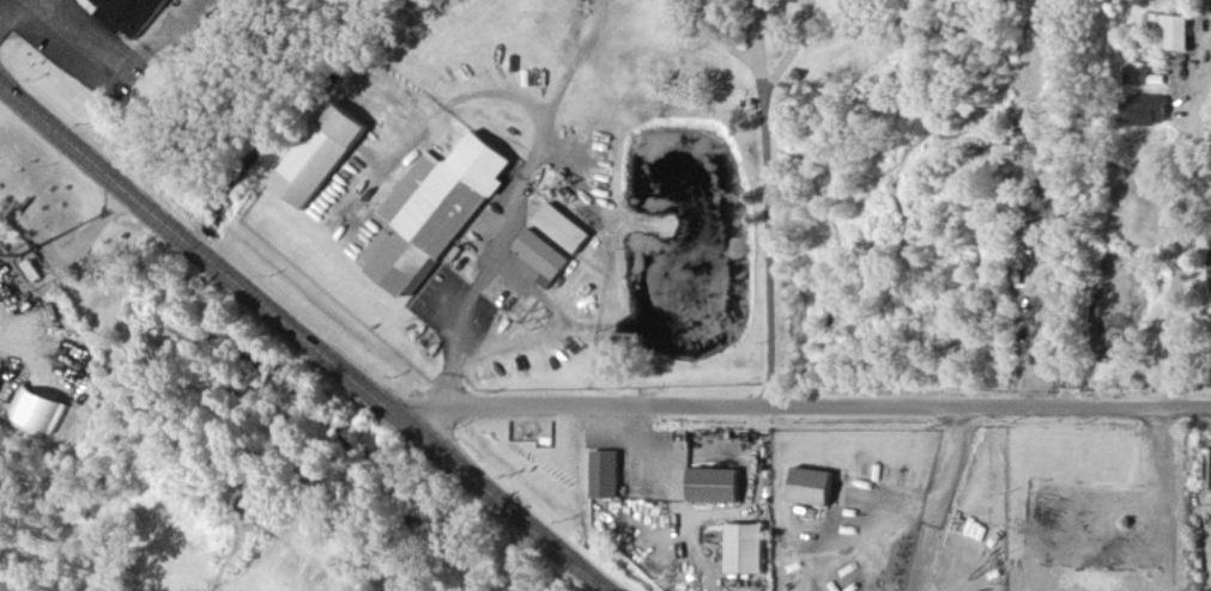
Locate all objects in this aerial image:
building: (132, 11)
road: (55, 23)
building: (114, 23)
building: (1177, 33)
building: (1151, 111)
building: (317, 153)
road: (1061, 201)
road: (767, 202)
building: (431, 209)
building: (559, 226)
road: (1182, 230)
building: (540, 254)
road: (464, 316)
road: (557, 330)
road: (308, 335)
road: (811, 404)
building: (35, 412)
road: (940, 476)
building: (608, 477)
building: (719, 488)
building: (818, 489)
road: (1171, 495)
road: (930, 546)
building: (749, 552)
road: (501, 554)
railway: (2, 589)

